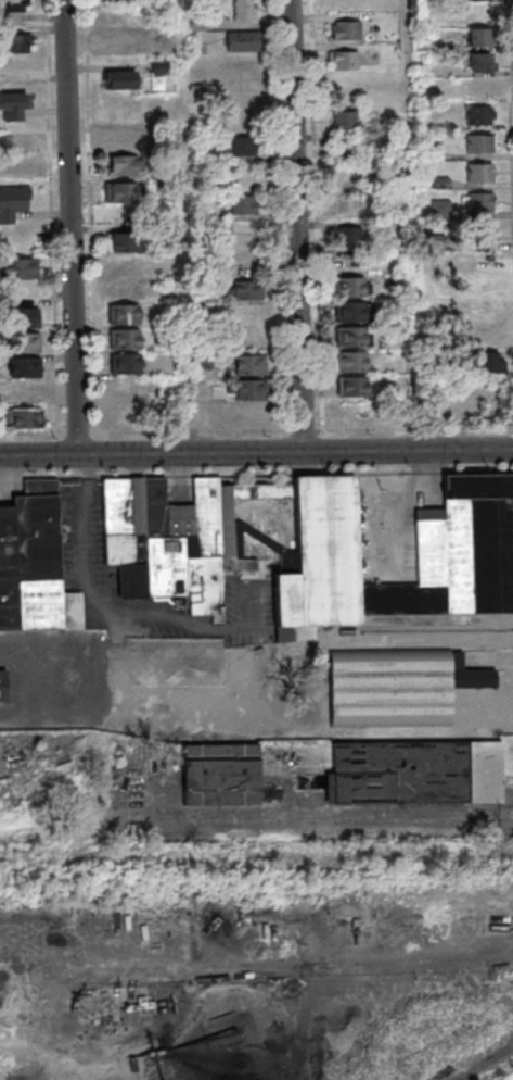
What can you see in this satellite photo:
building: (118, 0)
building: (480, 0)
building: (13, 4)
building: (244, 10)
road: (512, 10)
building: (479, 13)
building: (346, 29)
building: (482, 39)
building: (243, 40)
building: (16, 42)
building: (120, 42)
building: (343, 60)
building: (483, 64)
building: (159, 67)
building: (123, 83)
building: (13, 105)
building: (480, 116)
building: (346, 120)
building: (18, 142)
building: (120, 142)
building: (244, 146)
building: (483, 146)
building: (348, 150)
building: (124, 167)
building: (18, 168)
building: (483, 174)
building: (125, 194)
building: (13, 202)
building: (484, 203)
building: (243, 204)
road: (318, 215)
road: (299, 225)
road: (414, 225)
road: (188, 226)
road: (70, 227)
building: (478, 233)
building: (346, 237)
building: (125, 244)
building: (246, 255)
building: (123, 265)
building: (22, 267)
building: (352, 287)
building: (247, 290)
building: (355, 311)
building: (127, 316)
building: (26, 321)
building: (351, 336)
building: (128, 341)
building: (27, 344)
building: (205, 361)
building: (351, 361)
building: (487, 363)
building: (251, 364)
building: (129, 366)
building: (28, 369)
building: (351, 386)
building: (120, 387)
building: (249, 389)
building: (29, 394)
building: (29, 422)
road: (256, 431)
road: (256, 451)
road: (81, 519)
building: (307, 547)
building: (30, 557)
building: (75, 610)
building: (398, 683)
building: (3, 686)
building: (411, 773)
building: (220, 775)

